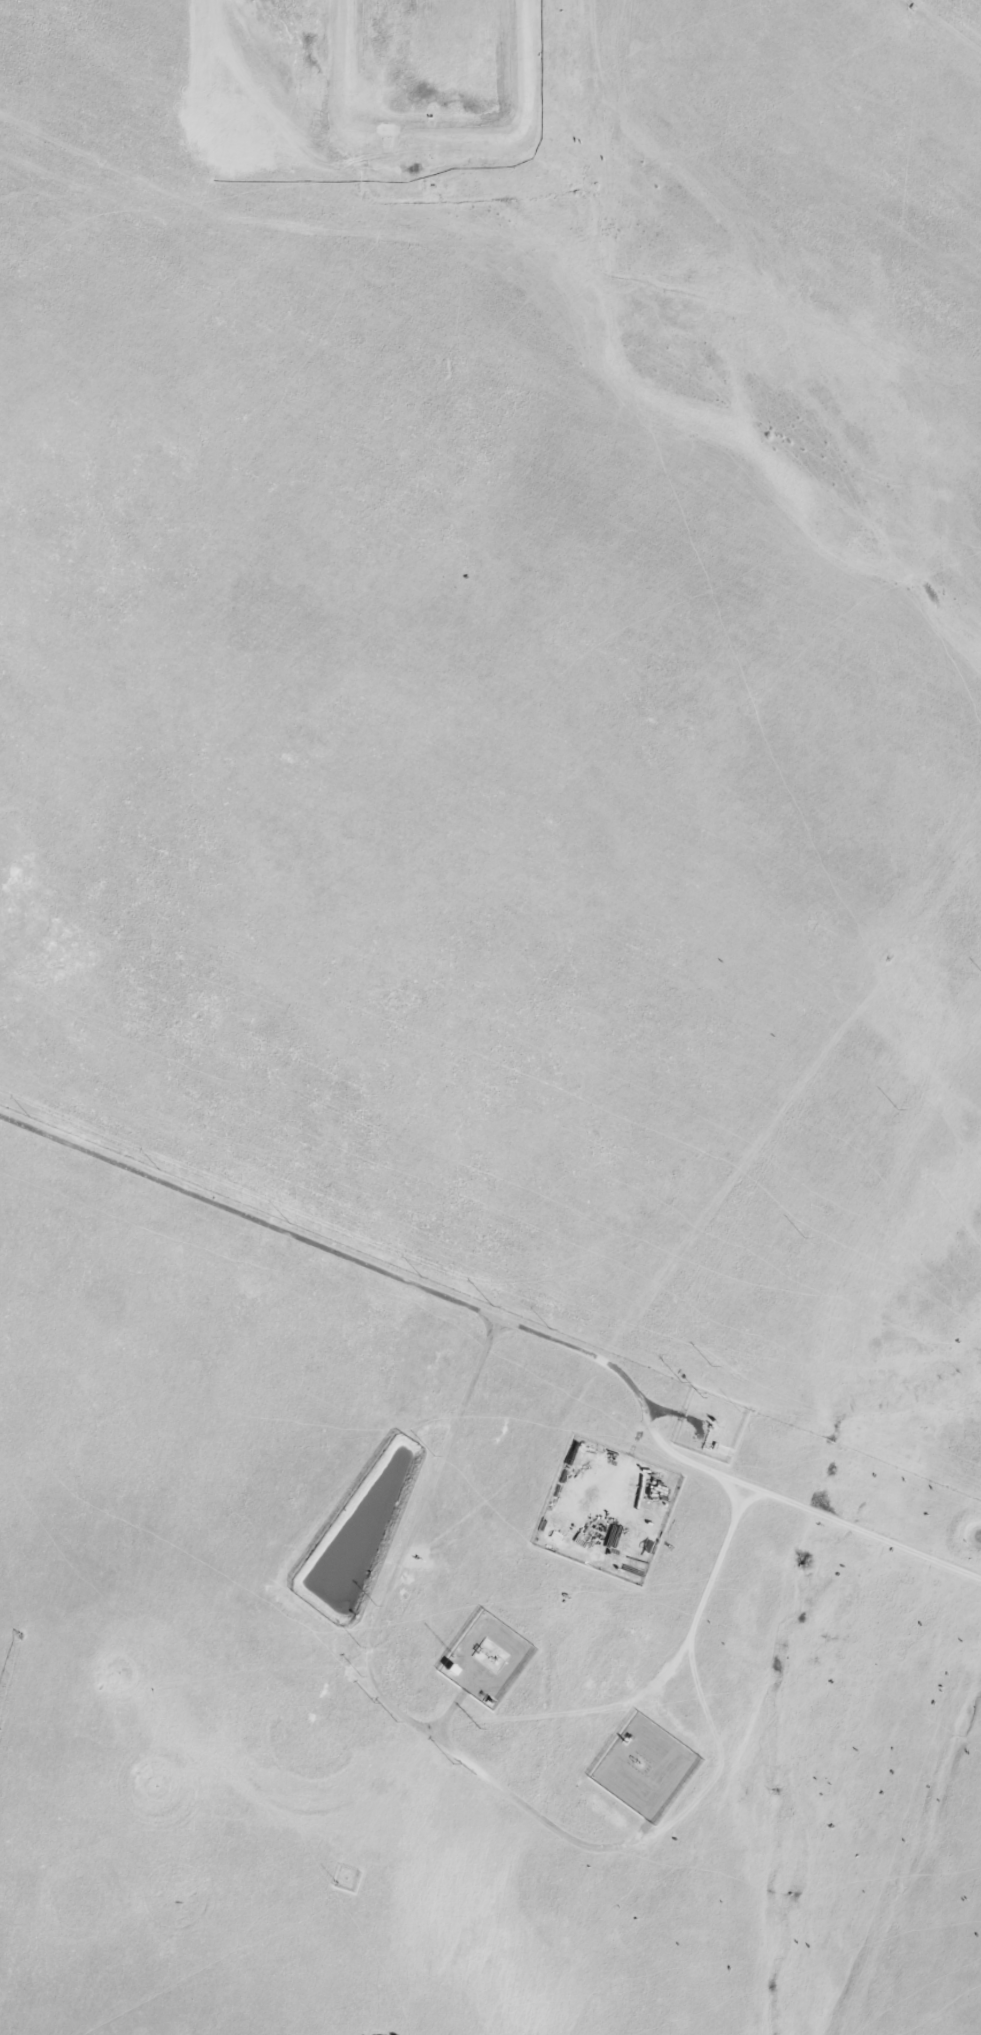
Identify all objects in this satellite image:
road: (511, 1321)
road: (423, 1726)

